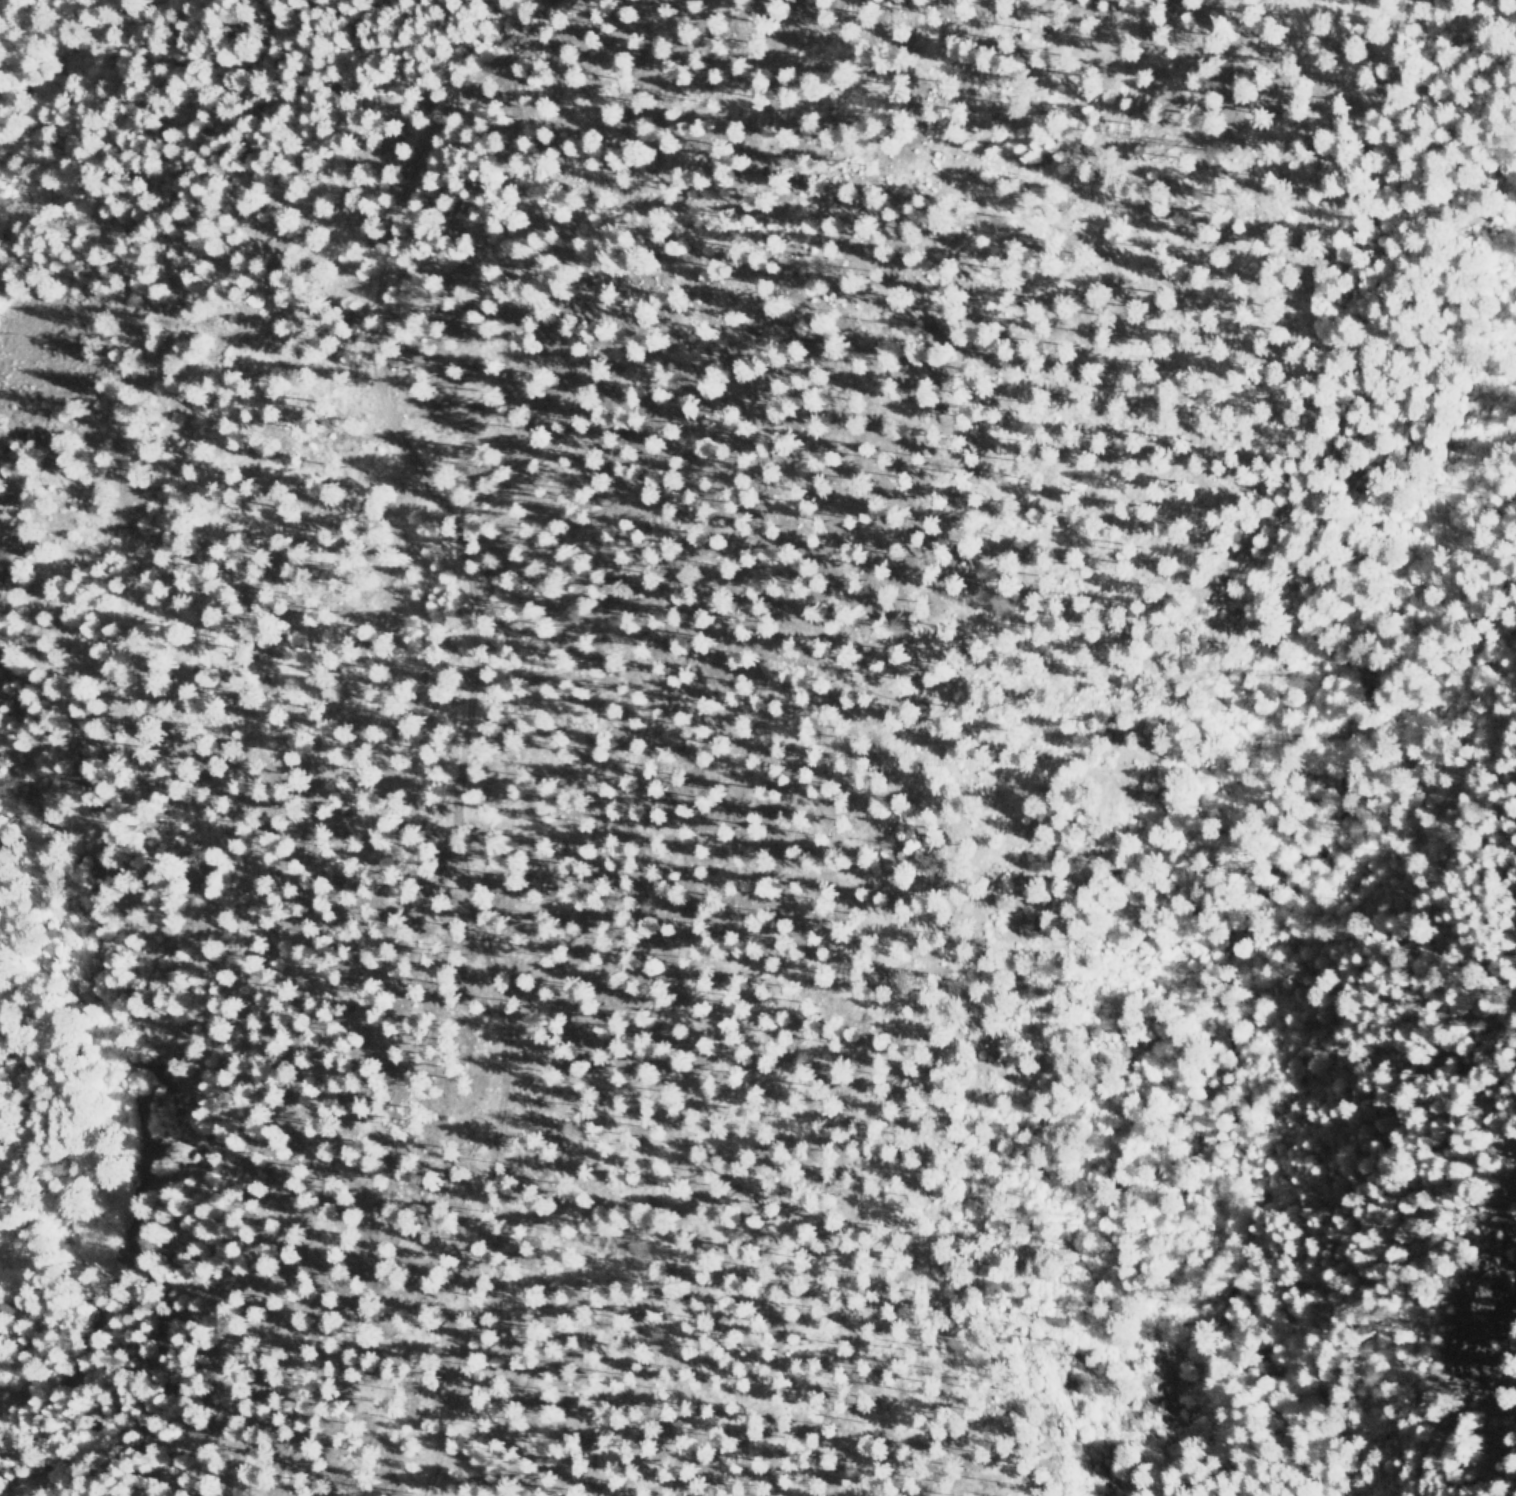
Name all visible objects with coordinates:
road: (482, 702)

